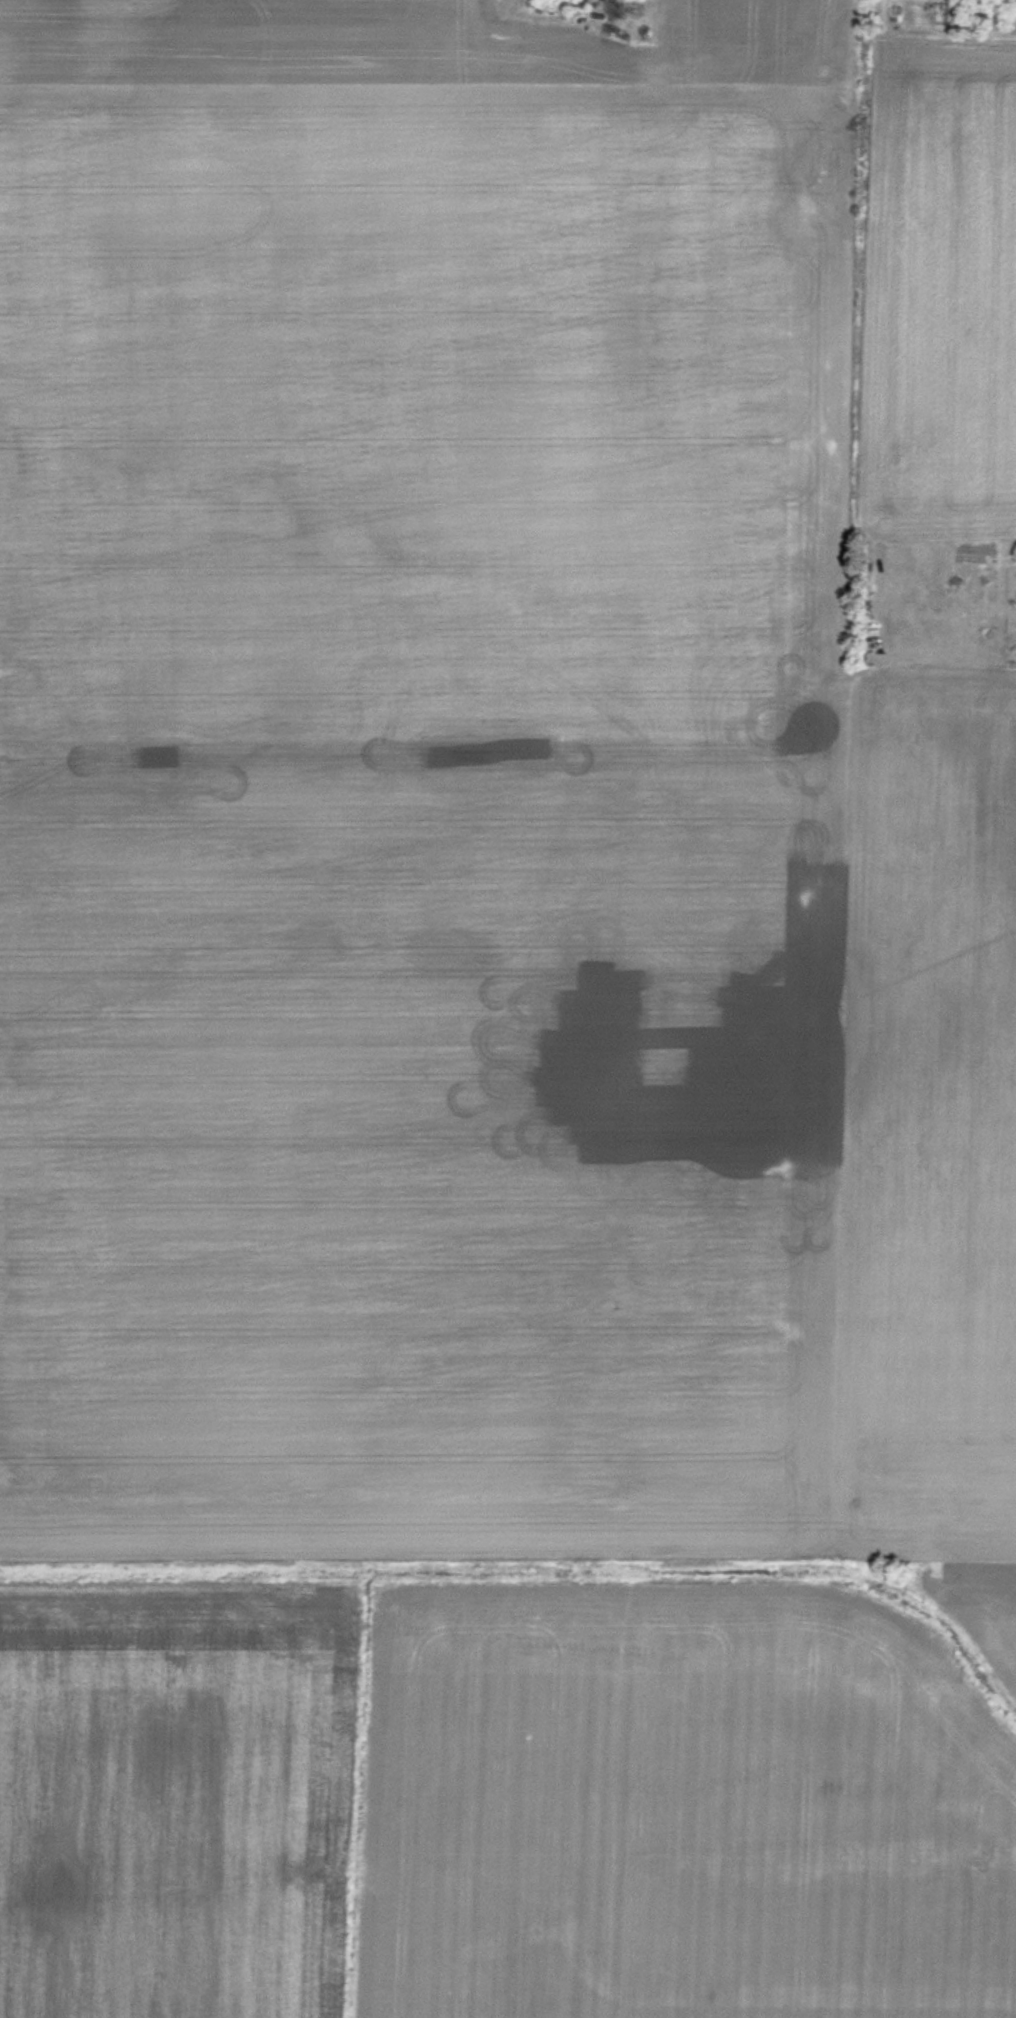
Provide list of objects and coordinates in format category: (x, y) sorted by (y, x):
building: (1015, 0)

